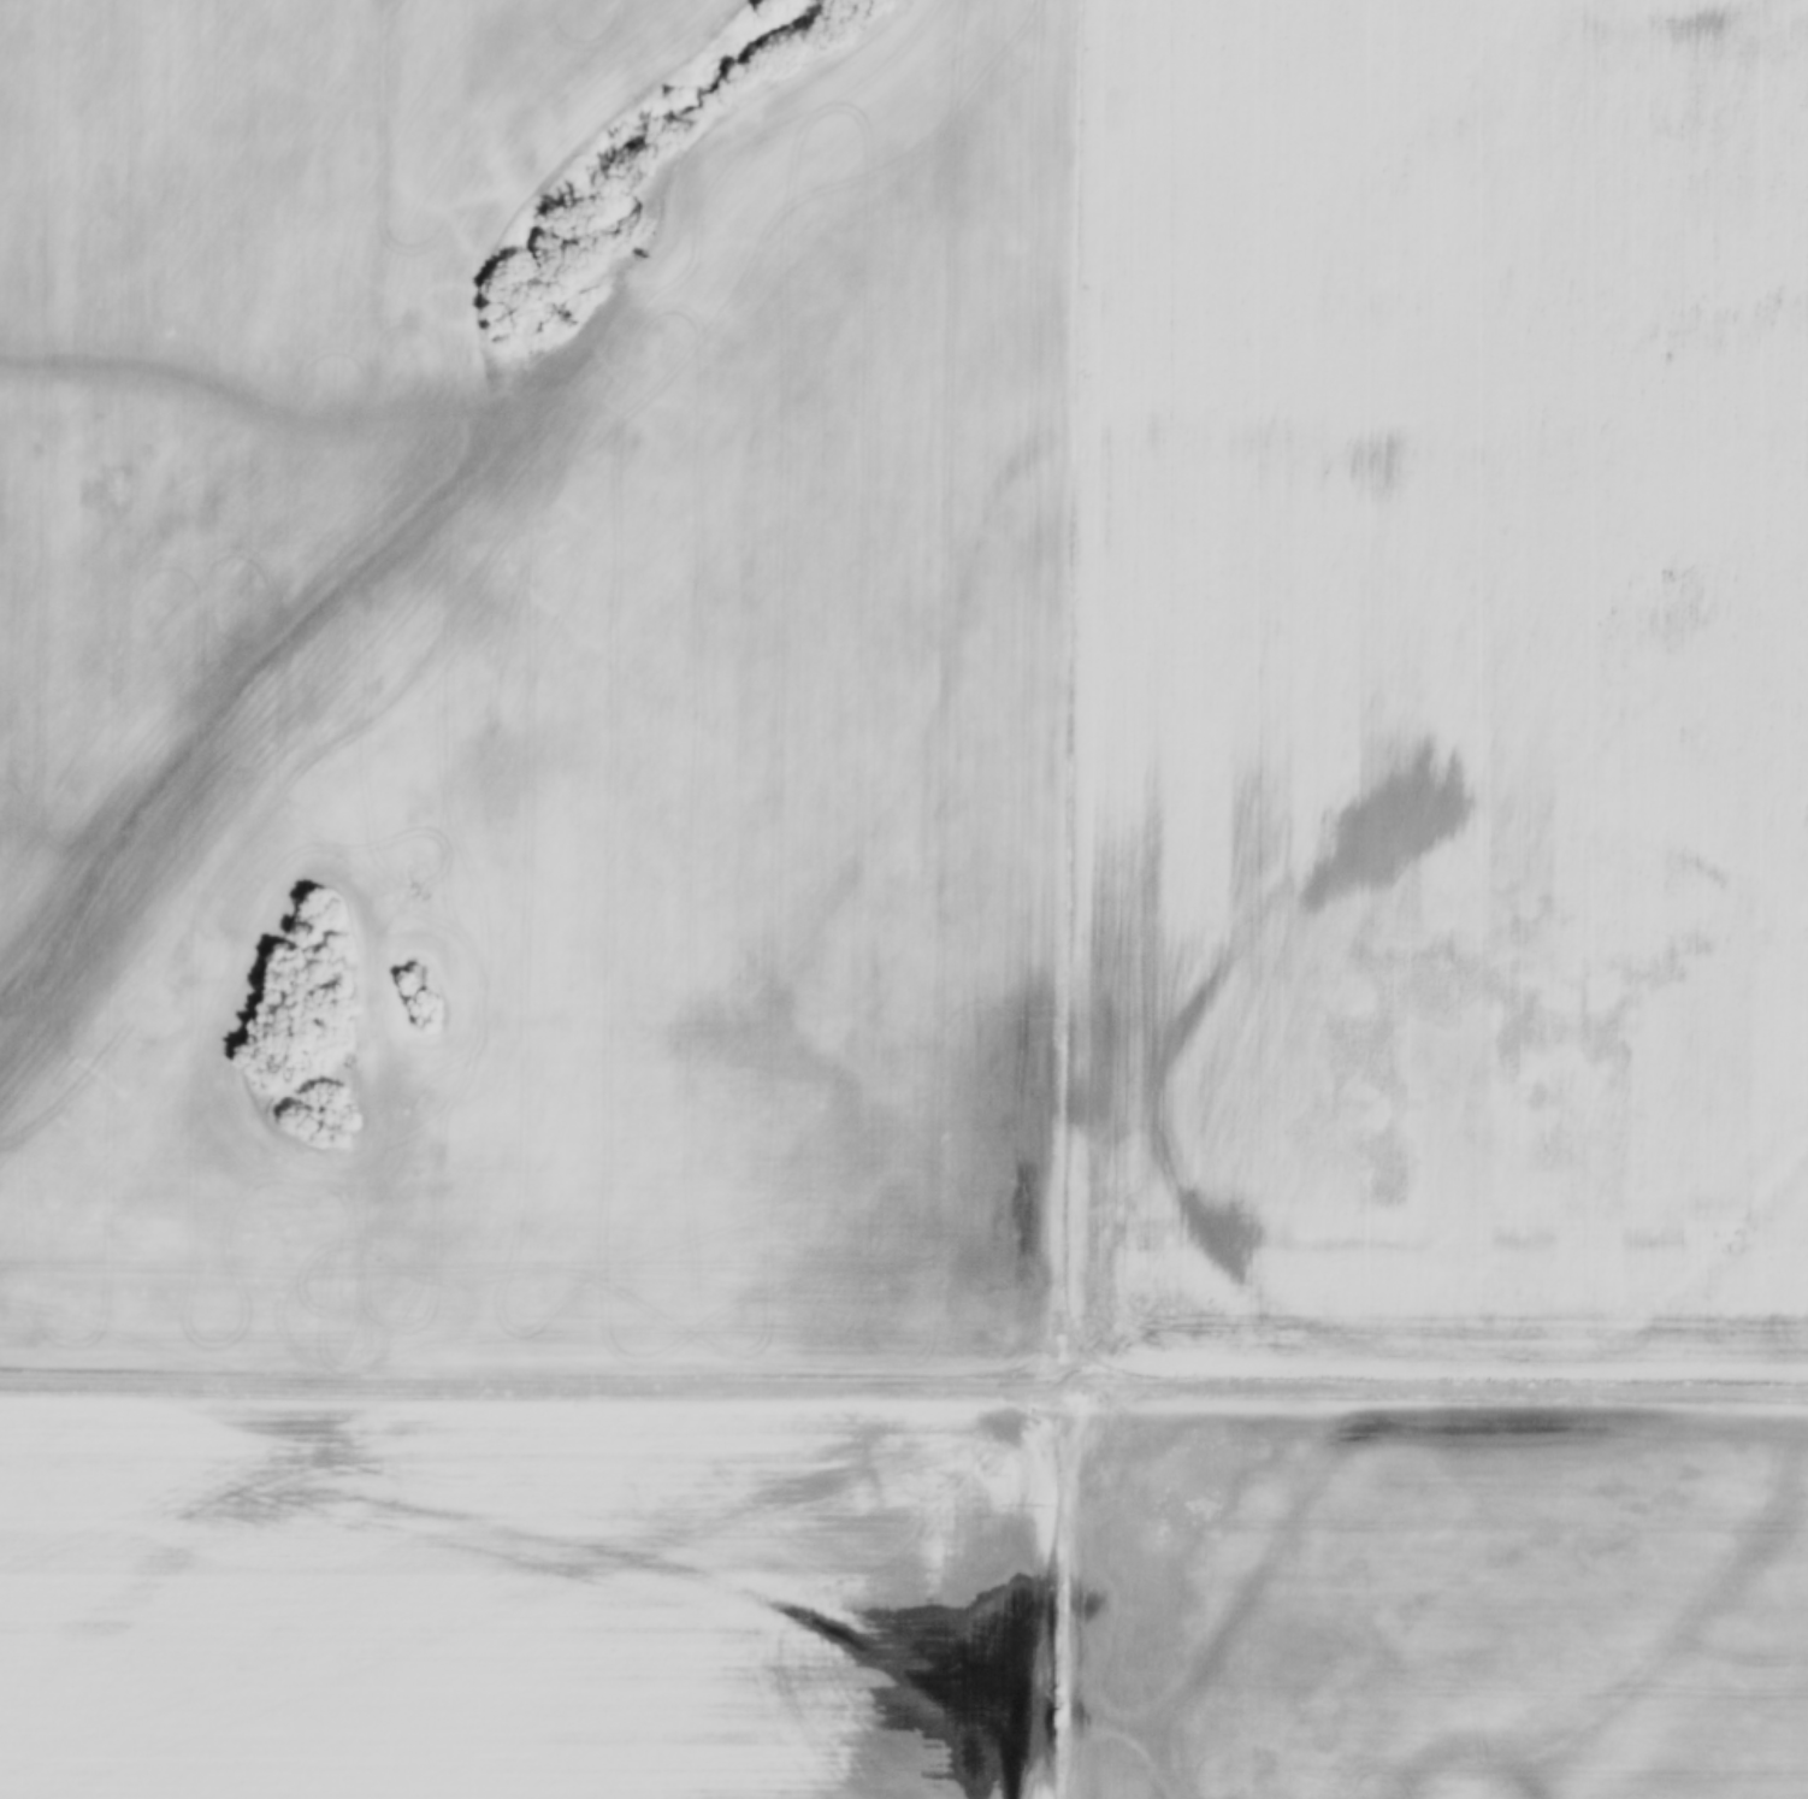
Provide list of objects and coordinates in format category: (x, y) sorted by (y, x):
road: (903, 1380)

